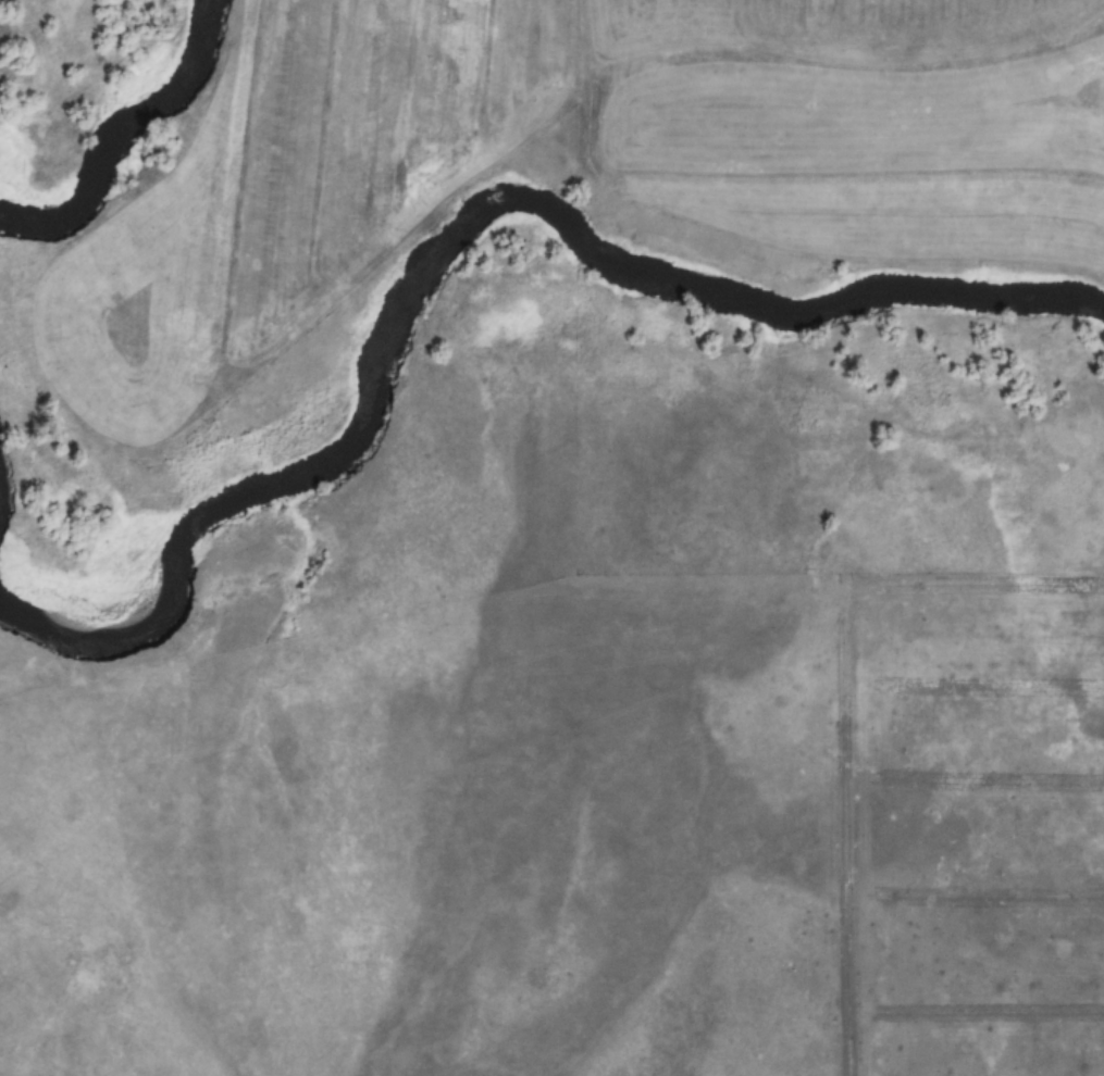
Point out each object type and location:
river: (121, 135)
river: (464, 226)

